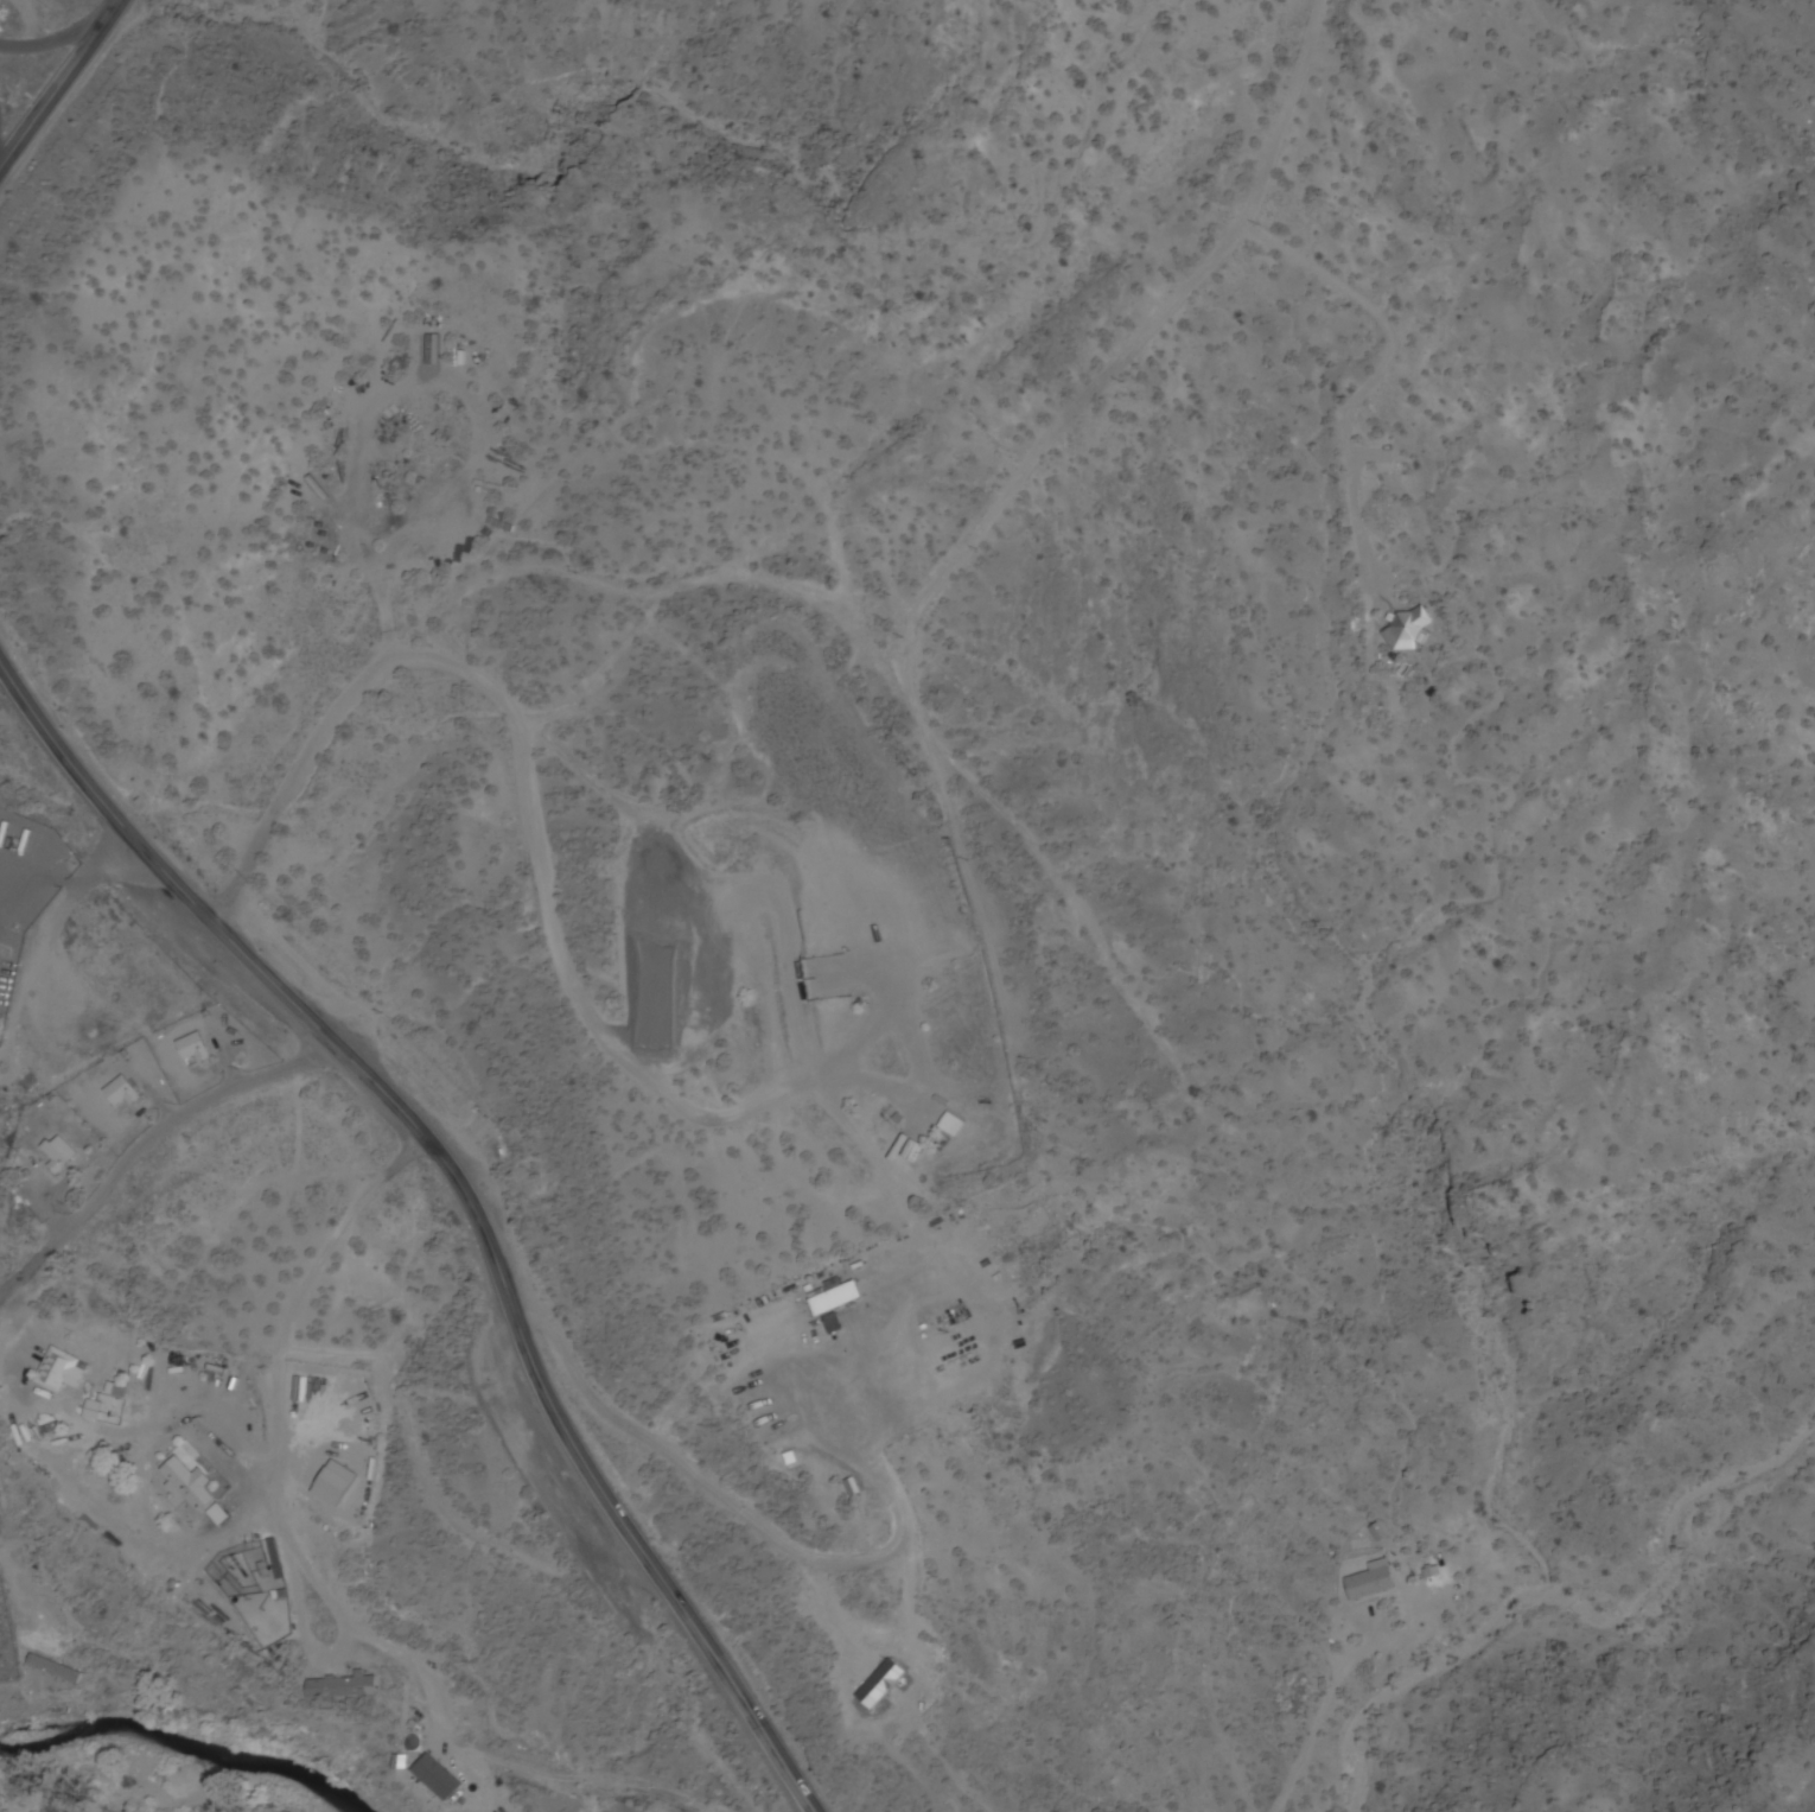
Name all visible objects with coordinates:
road: (58, 39)
road: (62, 82)
road: (1034, 441)
building: (1407, 631)
road: (521, 776)
road: (154, 864)
road: (104, 872)
building: (193, 1049)
building: (121, 1093)
road: (145, 1142)
building: (59, 1155)
building: (836, 1301)
building: (833, 1325)
building: (59, 1372)
road: (273, 1412)
road: (563, 1430)
building: (187, 1484)
building: (853, 1487)
road: (709, 1498)
building: (1377, 1533)
building: (1369, 1585)
park: (6, 1642)
building: (56, 1670)
building: (343, 1689)
road: (1316, 1723)

